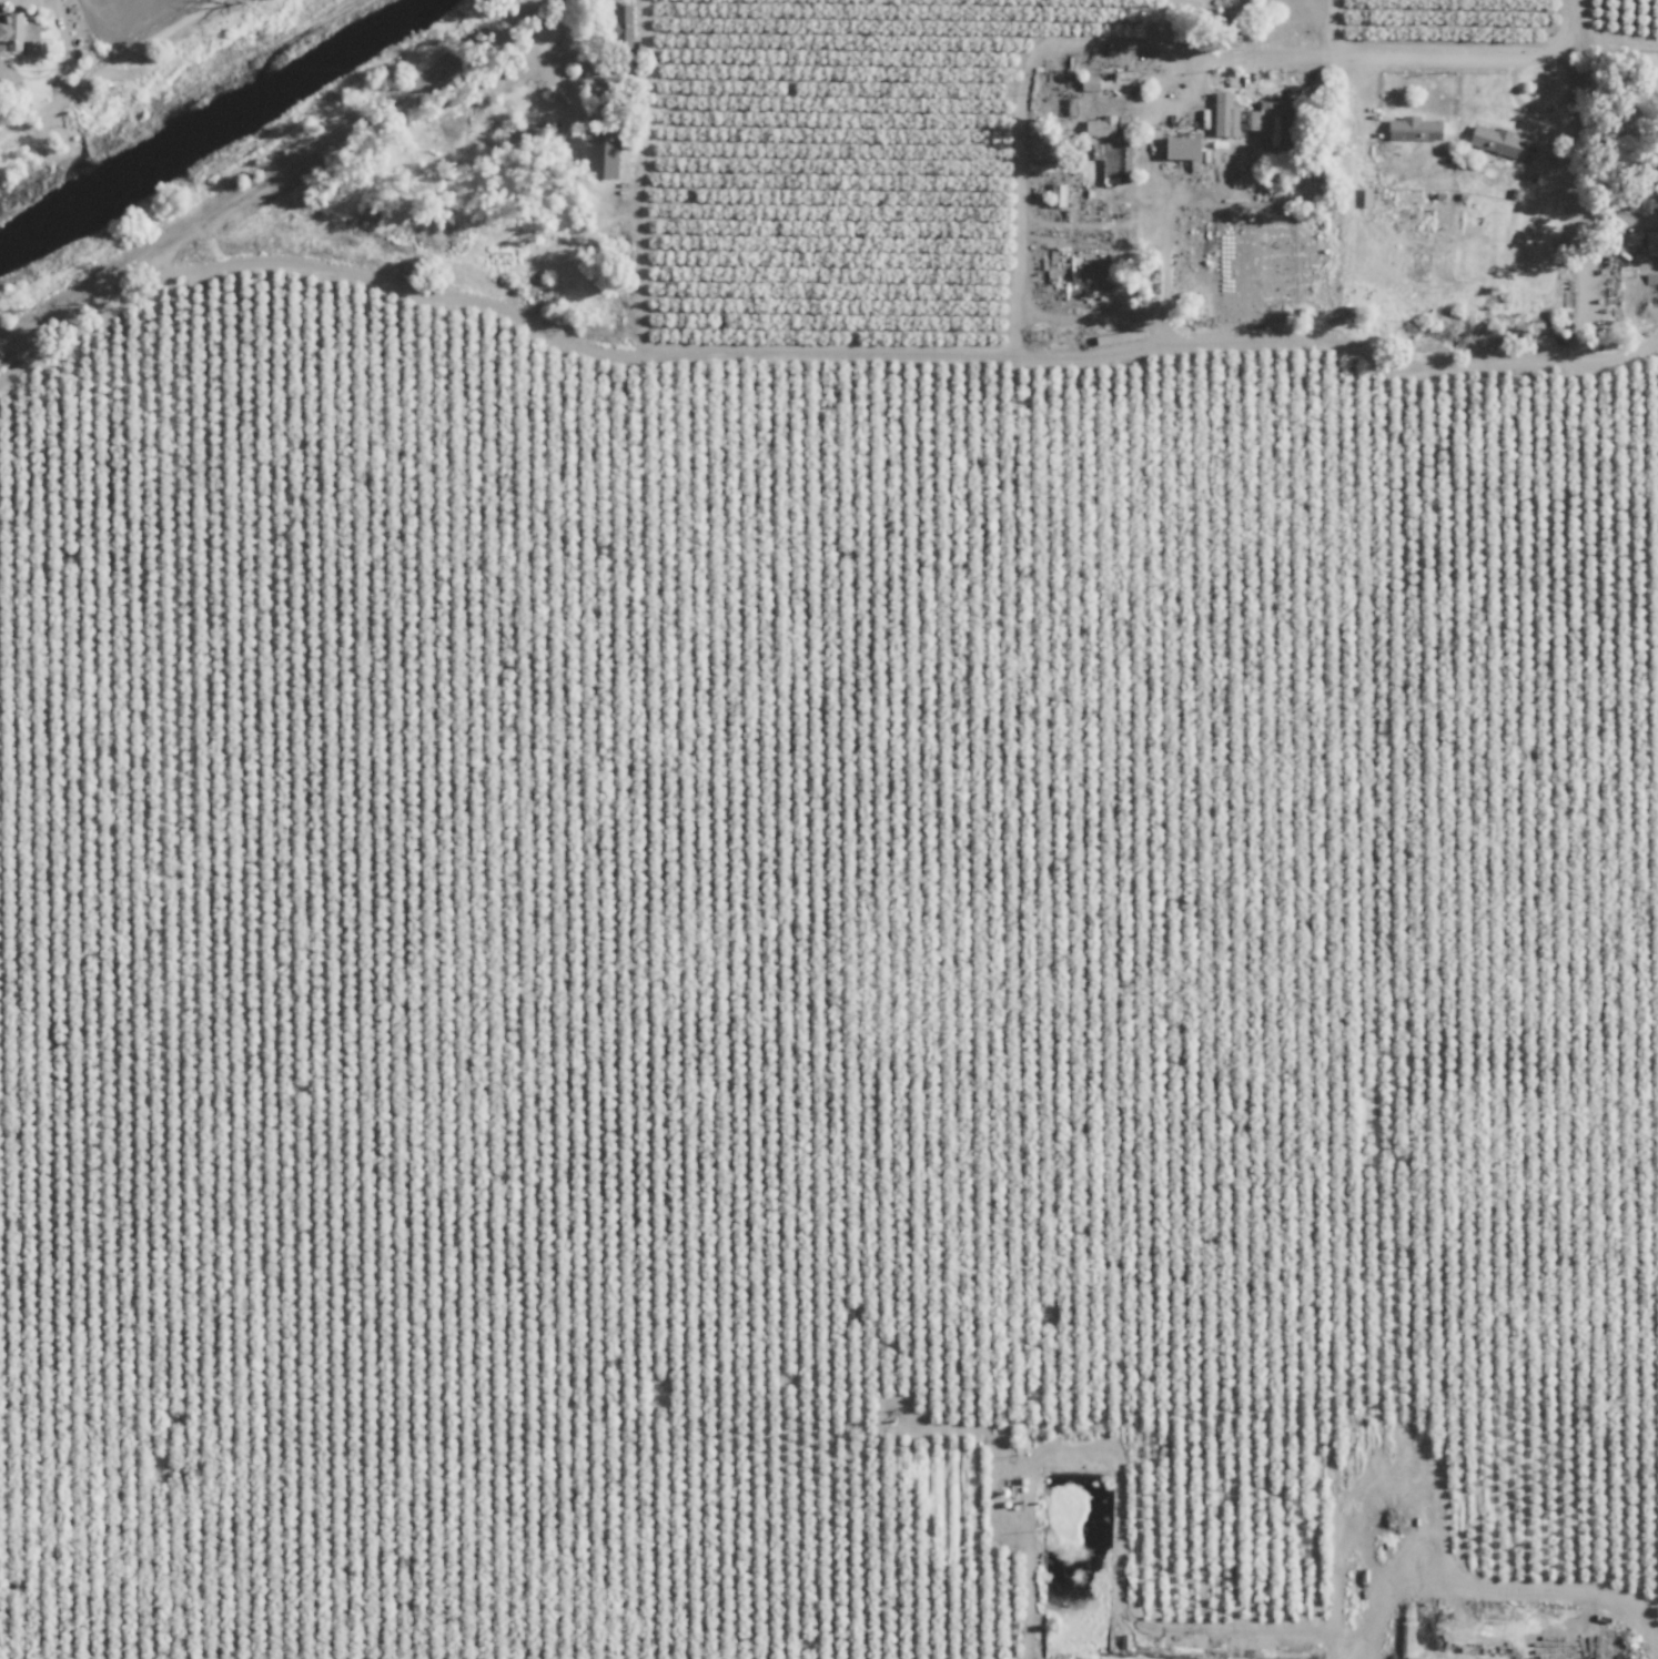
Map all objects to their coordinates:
building: (1224, 8)
road: (1577, 22)
road: (1617, 33)
building: (20, 37)
road: (12, 60)
road: (1353, 63)
road: (1615, 71)
road: (94, 72)
building: (1084, 83)
building: (1066, 107)
building: (1226, 117)
building: (1098, 127)
river: (212, 129)
building: (1411, 129)
building: (1492, 141)
building: (1175, 149)
building: (605, 155)
building: (1108, 163)
road: (273, 182)
building: (1053, 195)
road: (1576, 237)
building: (1648, 243)
road: (614, 1450)

